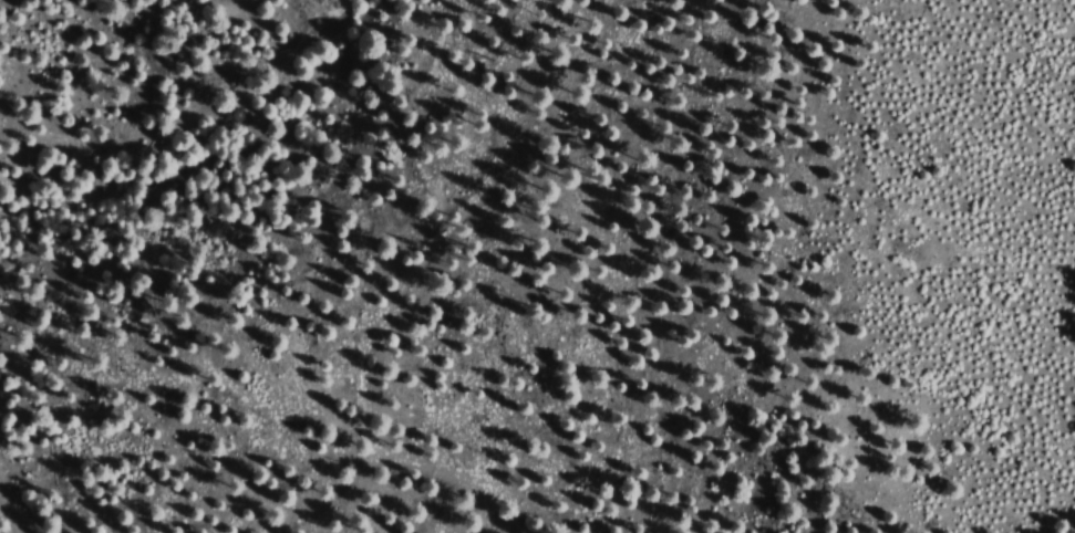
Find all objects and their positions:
road: (29, 431)

